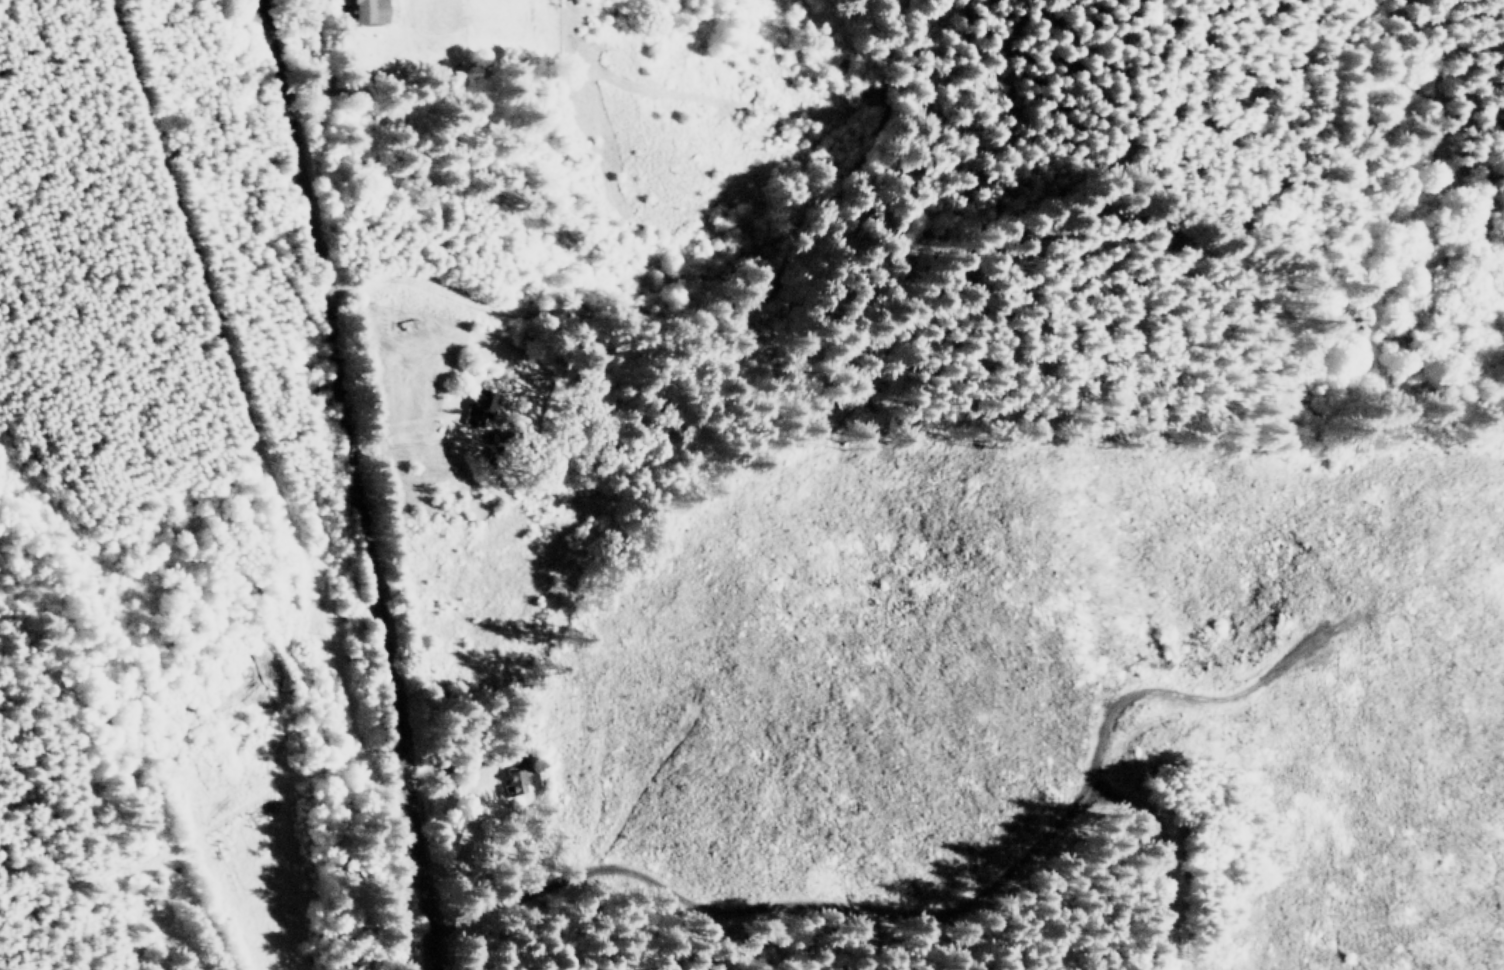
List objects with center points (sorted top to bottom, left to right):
building: (481, 406)
building: (499, 436)
road: (411, 442)
road: (350, 483)
building: (517, 778)

